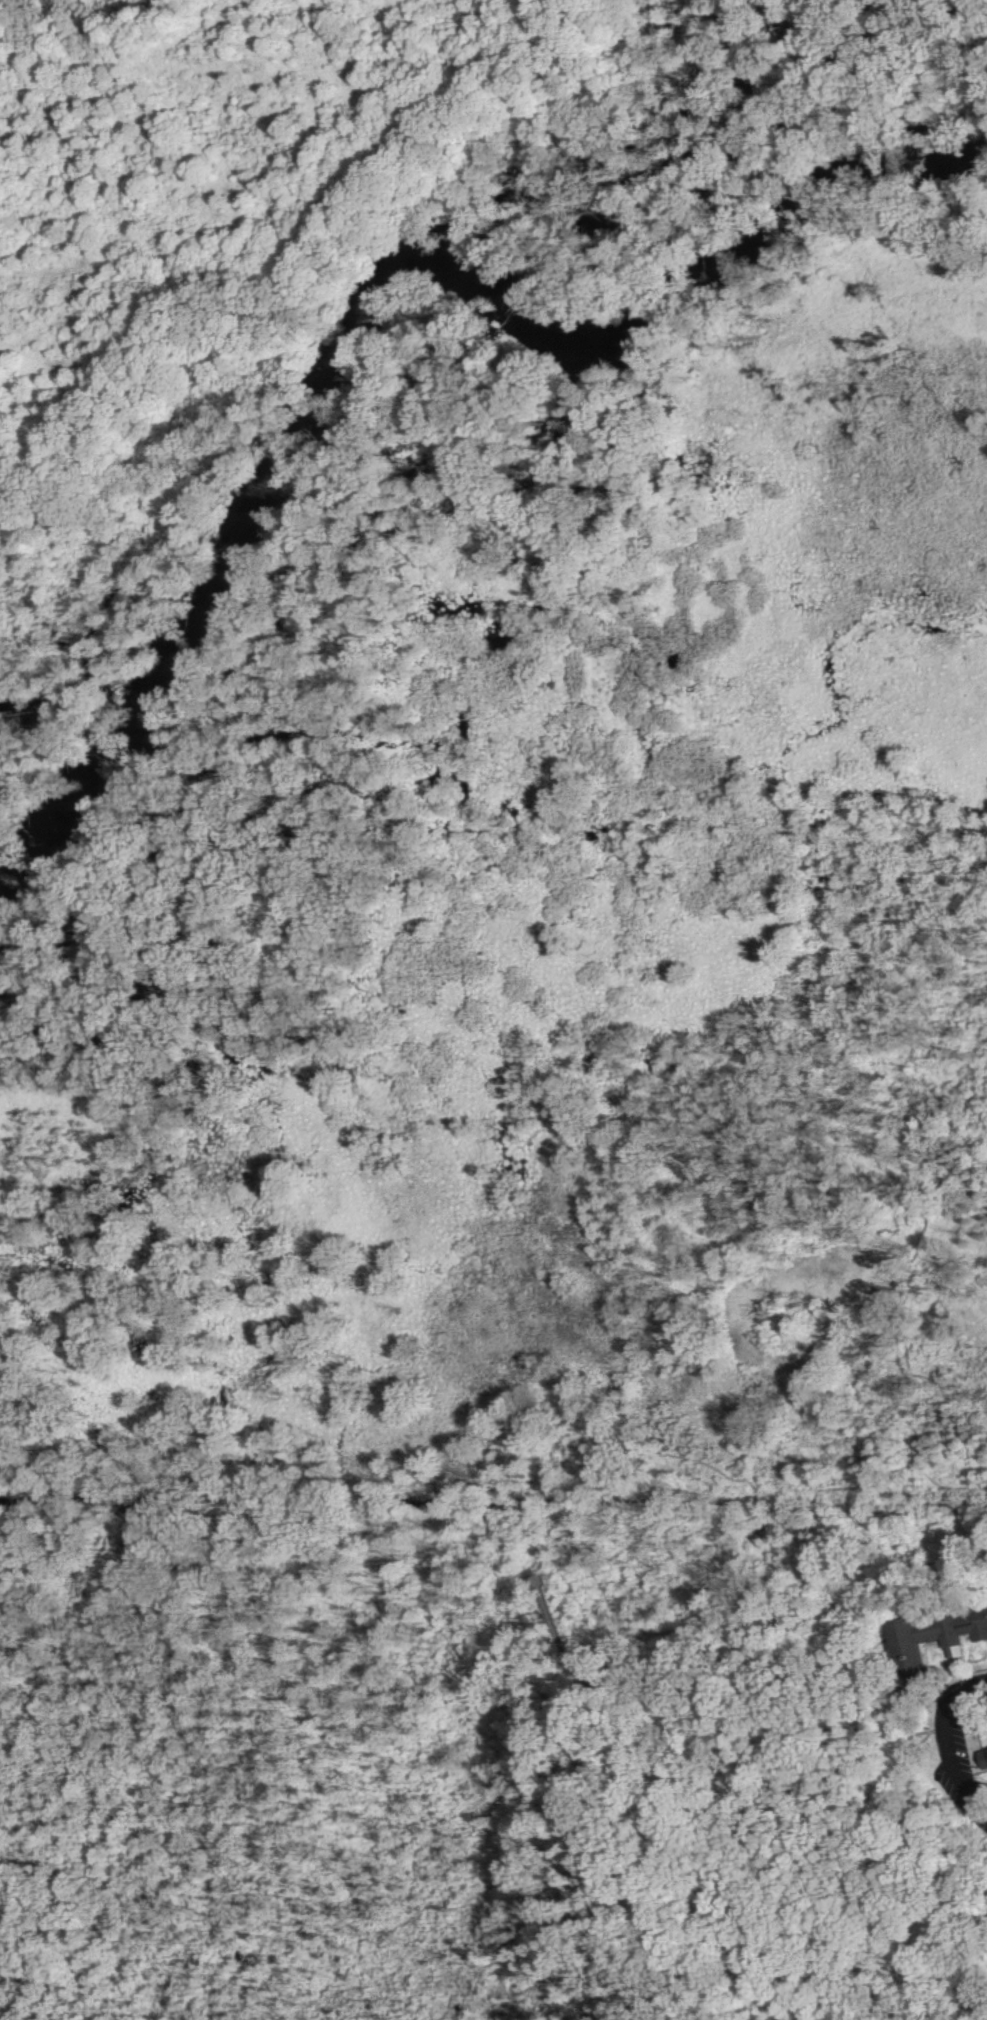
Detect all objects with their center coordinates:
river: (384, 277)
road: (890, 1297)
road: (913, 1314)
road: (568, 1431)
road: (791, 1521)
road: (899, 1567)
building: (930, 1629)
road: (561, 1657)
road: (597, 1679)
road: (623, 1727)
road: (940, 1731)
parking lot: (955, 1740)
building: (980, 1750)
road: (772, 1849)
road: (906, 1877)
road: (561, 1942)
road: (762, 1987)

